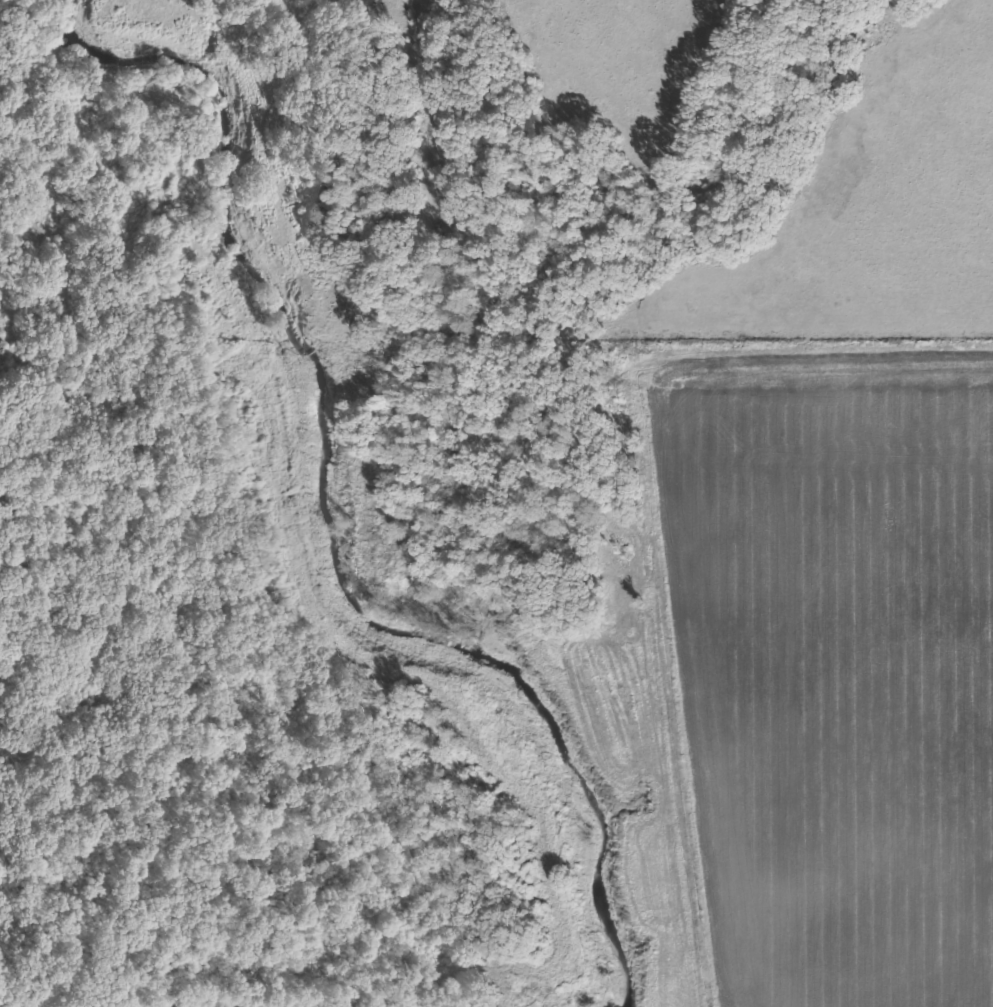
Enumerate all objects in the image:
park: (862, 36)

